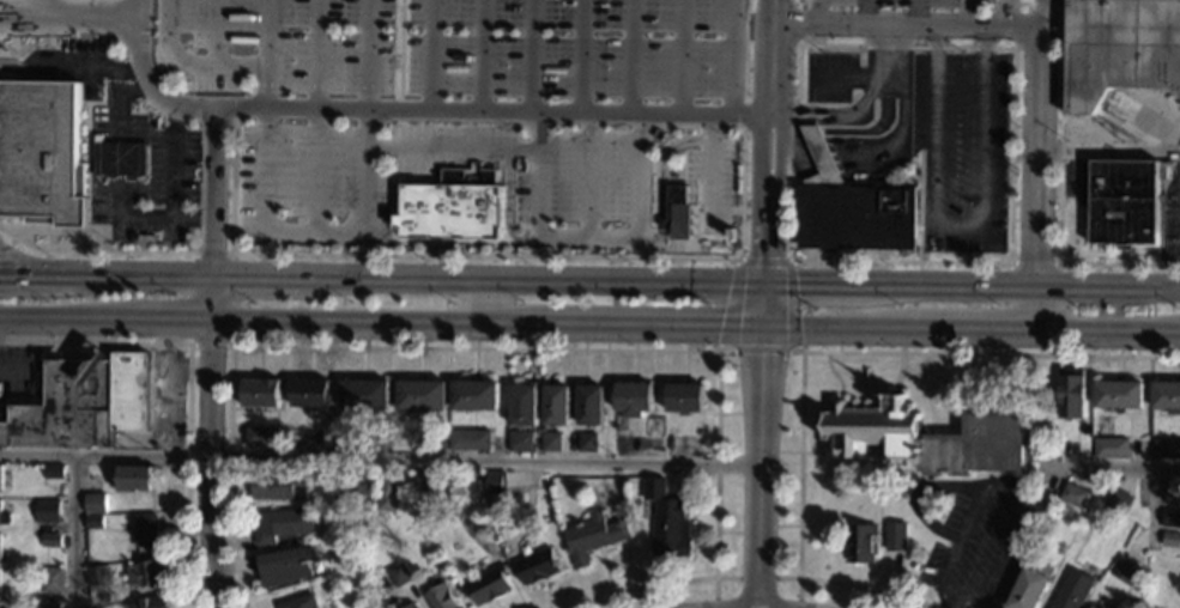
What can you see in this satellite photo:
road: (1064, 1)
road: (795, 2)
parking lot: (903, 2)
road: (1033, 2)
road: (44, 6)
road: (71, 12)
road: (817, 13)
road: (866, 13)
road: (918, 14)
road: (967, 14)
road: (1004, 14)
road: (1042, 16)
road: (797, 25)
road: (903, 28)
road: (216, 32)
parking lot: (279, 44)
parking lot: (574, 48)
road: (985, 48)
building: (1120, 49)
road: (267, 53)
road: (317, 54)
road: (367, 54)
road: (399, 55)
road: (431, 55)
road: (483, 55)
road: (531, 56)
road: (582, 56)
road: (633, 56)
road: (680, 57)
road: (732, 57)
road: (189, 63)
parking lot: (66, 66)
road: (89, 68)
road: (839, 77)
road: (413, 110)
road: (851, 113)
road: (742, 128)
road: (788, 129)
road: (865, 130)
road: (1060, 133)
road: (770, 141)
parking lot: (447, 146)
parking lot: (960, 147)
road: (452, 150)
road: (890, 152)
road: (1107, 152)
building: (42, 153)
building: (120, 158)
building: (819, 159)
road: (174, 160)
road: (715, 162)
road: (316, 169)
road: (593, 175)
parking lot: (144, 176)
road: (659, 176)
parking lot: (582, 177)
road: (232, 180)
road: (1035, 181)
parking lot: (713, 182)
parking lot: (311, 186)
road: (121, 187)
road: (210, 190)
building: (1124, 203)
road: (919, 206)
building: (452, 207)
road: (509, 209)
road: (785, 212)
building: (679, 213)
building: (858, 218)
road: (958, 225)
road: (314, 229)
road: (66, 231)
road: (592, 238)
road: (52, 241)
road: (75, 241)
road: (10, 242)
road: (4, 247)
road: (368, 254)
traffic signals: (770, 255)
road: (897, 261)
road: (1033, 262)
road: (1119, 263)
road: (36, 267)
road: (26, 275)
road: (63, 275)
road: (143, 275)
road: (252, 276)
road: (532, 280)
traffic signals: (770, 284)
traffic signals: (795, 284)
road: (817, 284)
road: (1022, 286)
road: (208, 299)
road: (769, 306)
road: (62, 320)
road: (231, 320)
road: (167, 321)
road: (358, 323)
road: (637, 327)
traffic signals: (715, 329)
traffic signals: (768, 329)
road: (837, 329)
road: (970, 330)
road: (1107, 332)
road: (532, 349)
road: (780, 352)
road: (806, 352)
traffic signals: (767, 355)
road: (187, 382)
road: (921, 387)
building: (310, 393)
building: (261, 394)
building: (1070, 394)
building: (364, 395)
building: (474, 395)
building: (1118, 395)
building: (1166, 395)
building: (422, 396)
building: (634, 396)
building: (684, 397)
building: (81, 402)
building: (524, 405)
building: (556, 405)
building: (591, 406)
building: (262, 436)
building: (470, 439)
building: (926, 439)
building: (521, 442)
building: (551, 442)
building: (587, 442)
building: (1111, 448)
building: (1166, 449)
road: (382, 457)
road: (206, 466)
road: (1099, 466)
road: (763, 468)
building: (54, 472)
building: (0, 476)
building: (135, 478)
building: (424, 481)
building: (496, 481)
building: (367, 485)
building: (280, 486)
building: (1169, 491)
road: (915, 492)
road: (1006, 492)
building: (387, 494)
building: (1073, 495)
building: (1117, 500)
building: (96, 503)
road: (1155, 507)
building: (48, 511)
building: (5, 517)
building: (1170, 518)
building: (667, 521)
building: (93, 522)
building: (283, 524)
building: (42, 527)
road: (77, 530)
building: (147, 531)
building: (895, 535)
building: (593, 536)
building: (1170, 539)
building: (52, 541)
building: (863, 542)
building: (0, 546)
building: (1151, 565)
building: (285, 566)
building: (537, 566)
building: (1125, 571)
building: (145, 573)
building: (400, 574)
building: (98, 576)
road: (755, 577)
building: (53, 579)
building: (0, 580)
building: (1030, 584)
building: (489, 585)
building: (1072, 590)
building: (441, 597)
building: (153, 602)
building: (301, 602)
building: (50, 606)
building: (412, 606)
road: (949, 606)
building: (101, 607)
building: (1091, 607)

